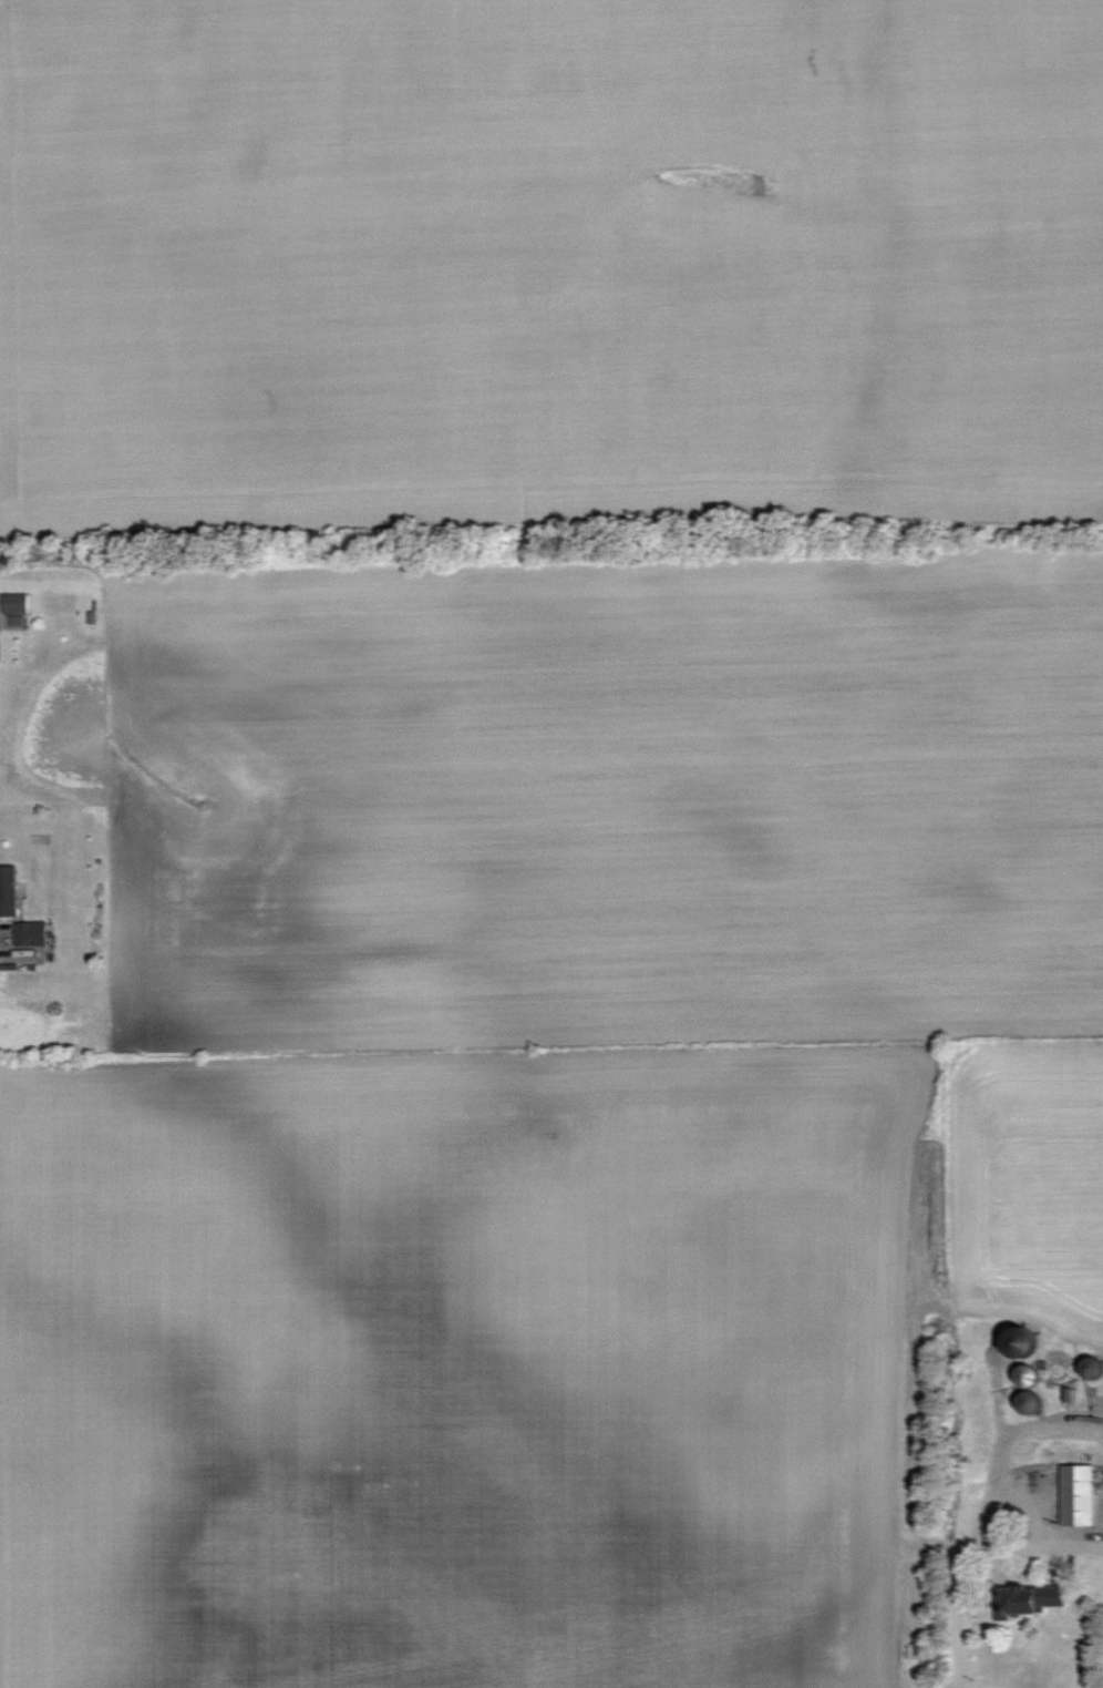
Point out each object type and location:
building: (16, 602)
building: (8, 890)
building: (32, 932)
road: (1002, 1441)
building: (1079, 1495)
road: (1031, 1544)
building: (1037, 1599)
road: (956, 1620)

